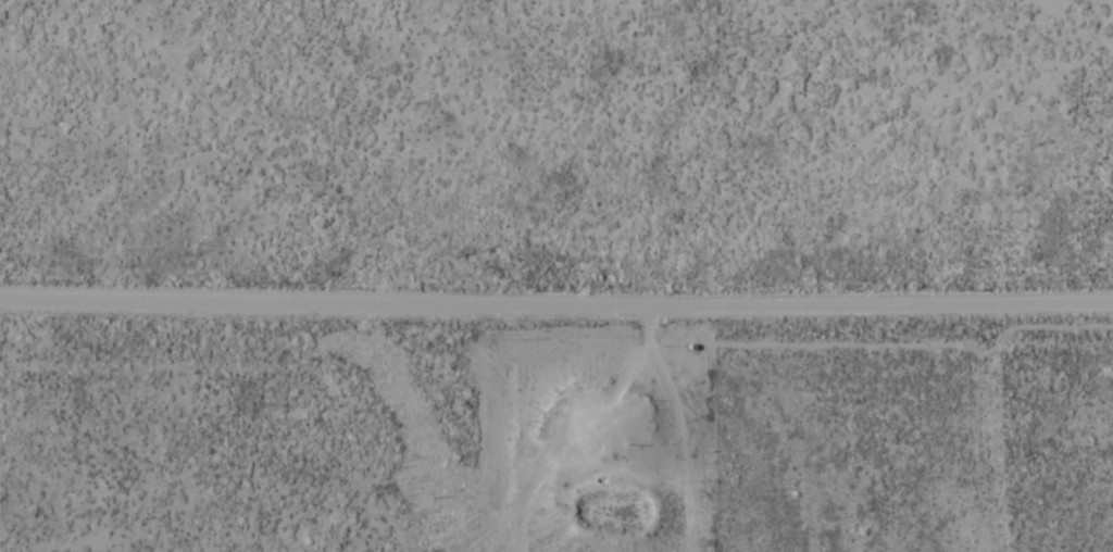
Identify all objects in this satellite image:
road: (555, 304)

